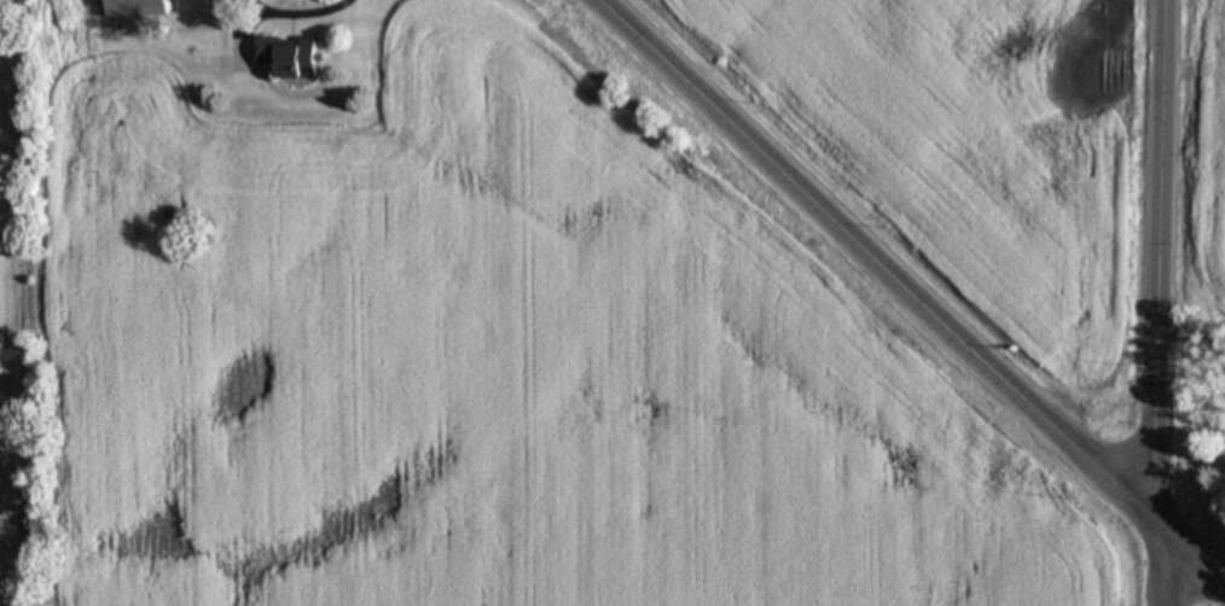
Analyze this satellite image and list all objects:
road: (292, 13)
building: (289, 54)
road: (1157, 261)
road: (908, 290)
road: (1161, 563)

